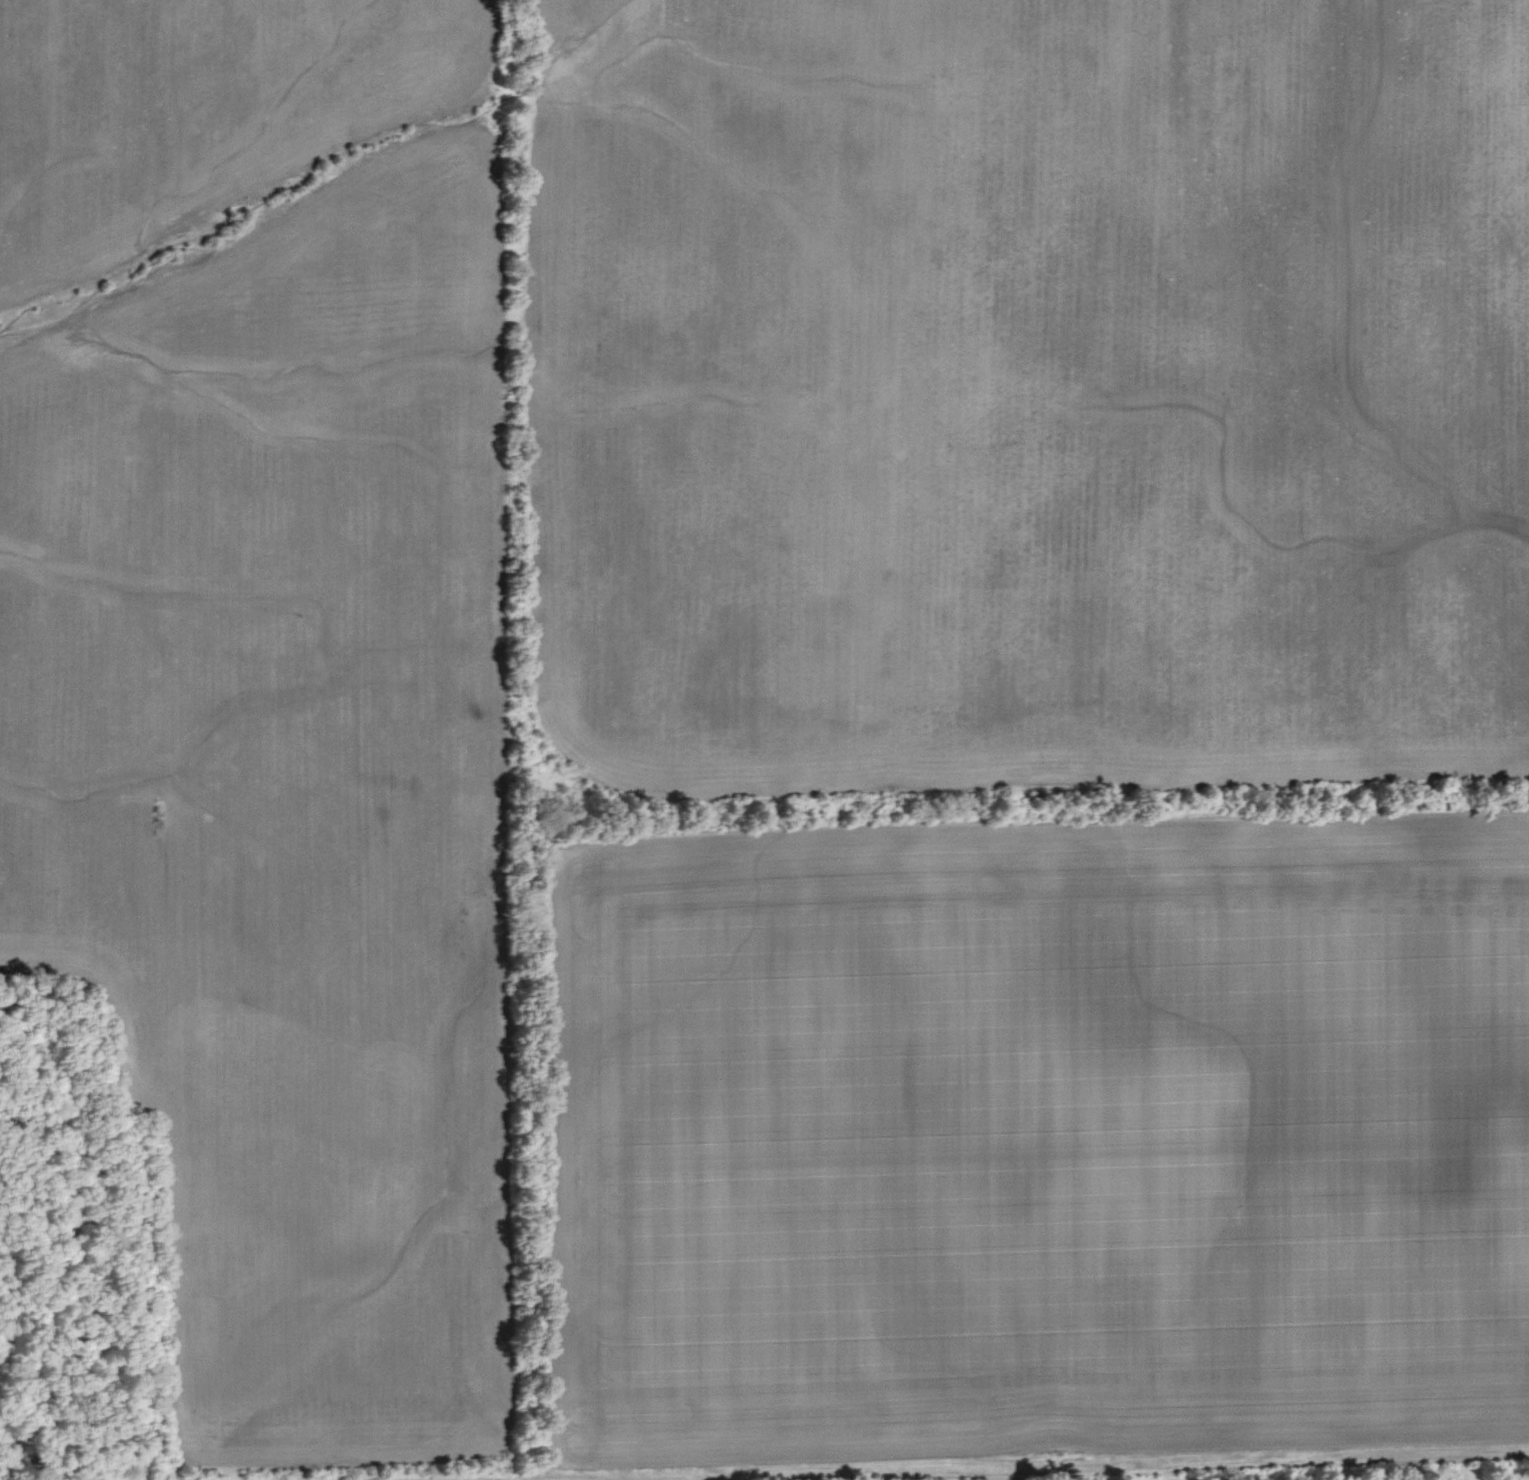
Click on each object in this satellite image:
road: (1035, 1468)

